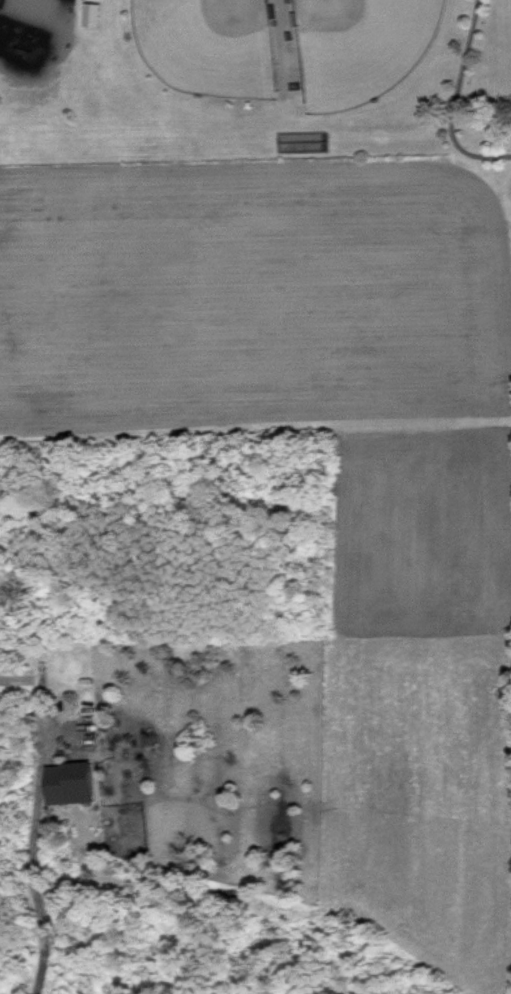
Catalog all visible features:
building: (90, 13)
park: (208, 44)
park: (359, 47)
road: (453, 100)
building: (66, 781)
road: (42, 901)

